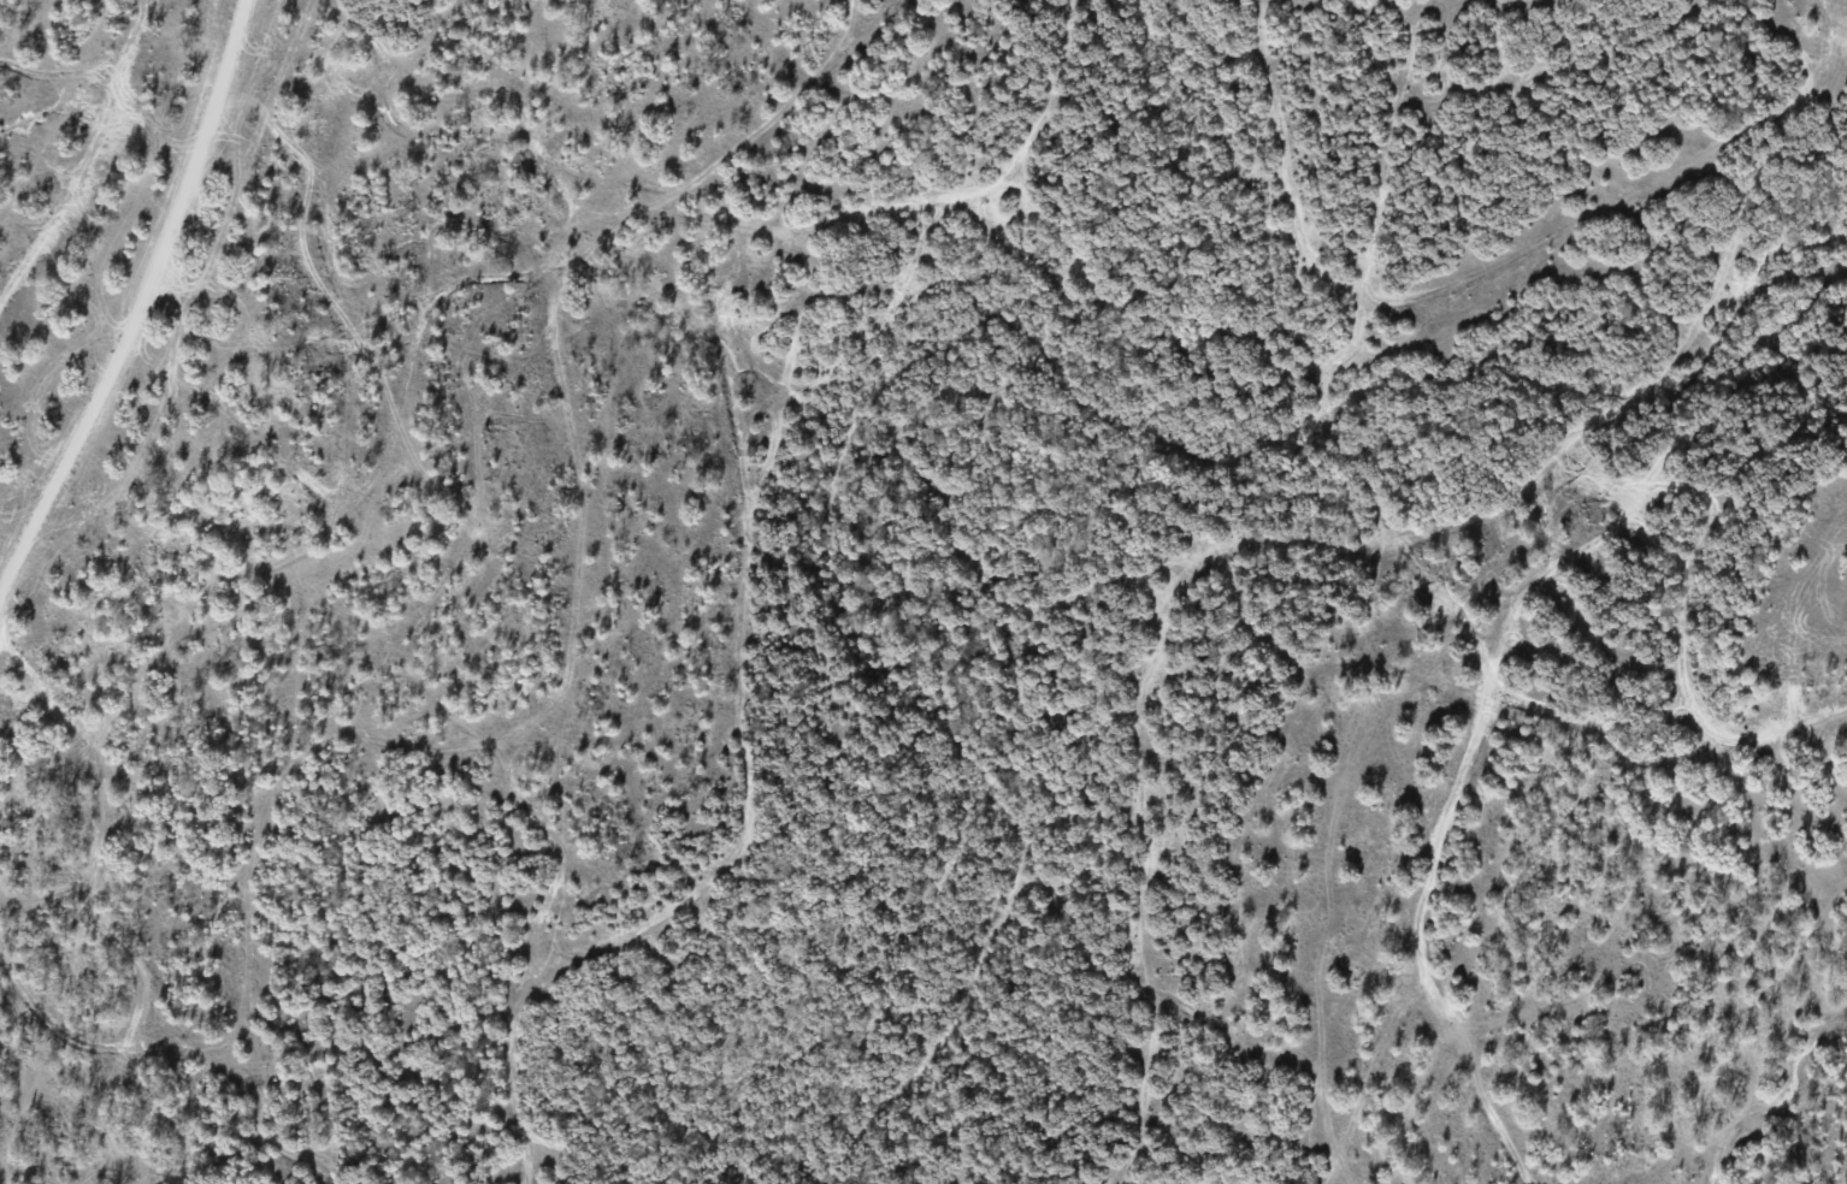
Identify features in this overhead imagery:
road: (148, 310)

